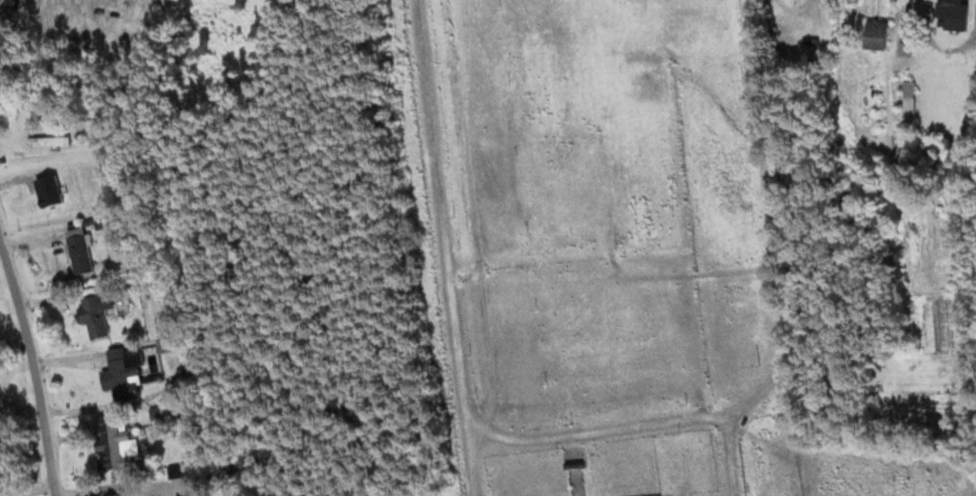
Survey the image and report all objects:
building: (949, 13)
building: (876, 35)
building: (908, 89)
building: (49, 140)
building: (70, 222)
building: (130, 226)
building: (76, 230)
building: (114, 250)
building: (82, 251)
building: (95, 310)
building: (173, 343)
road: (33, 373)
building: (123, 374)
road: (621, 407)
building: (118, 441)
road: (736, 449)
building: (121, 490)
road: (29, 492)

